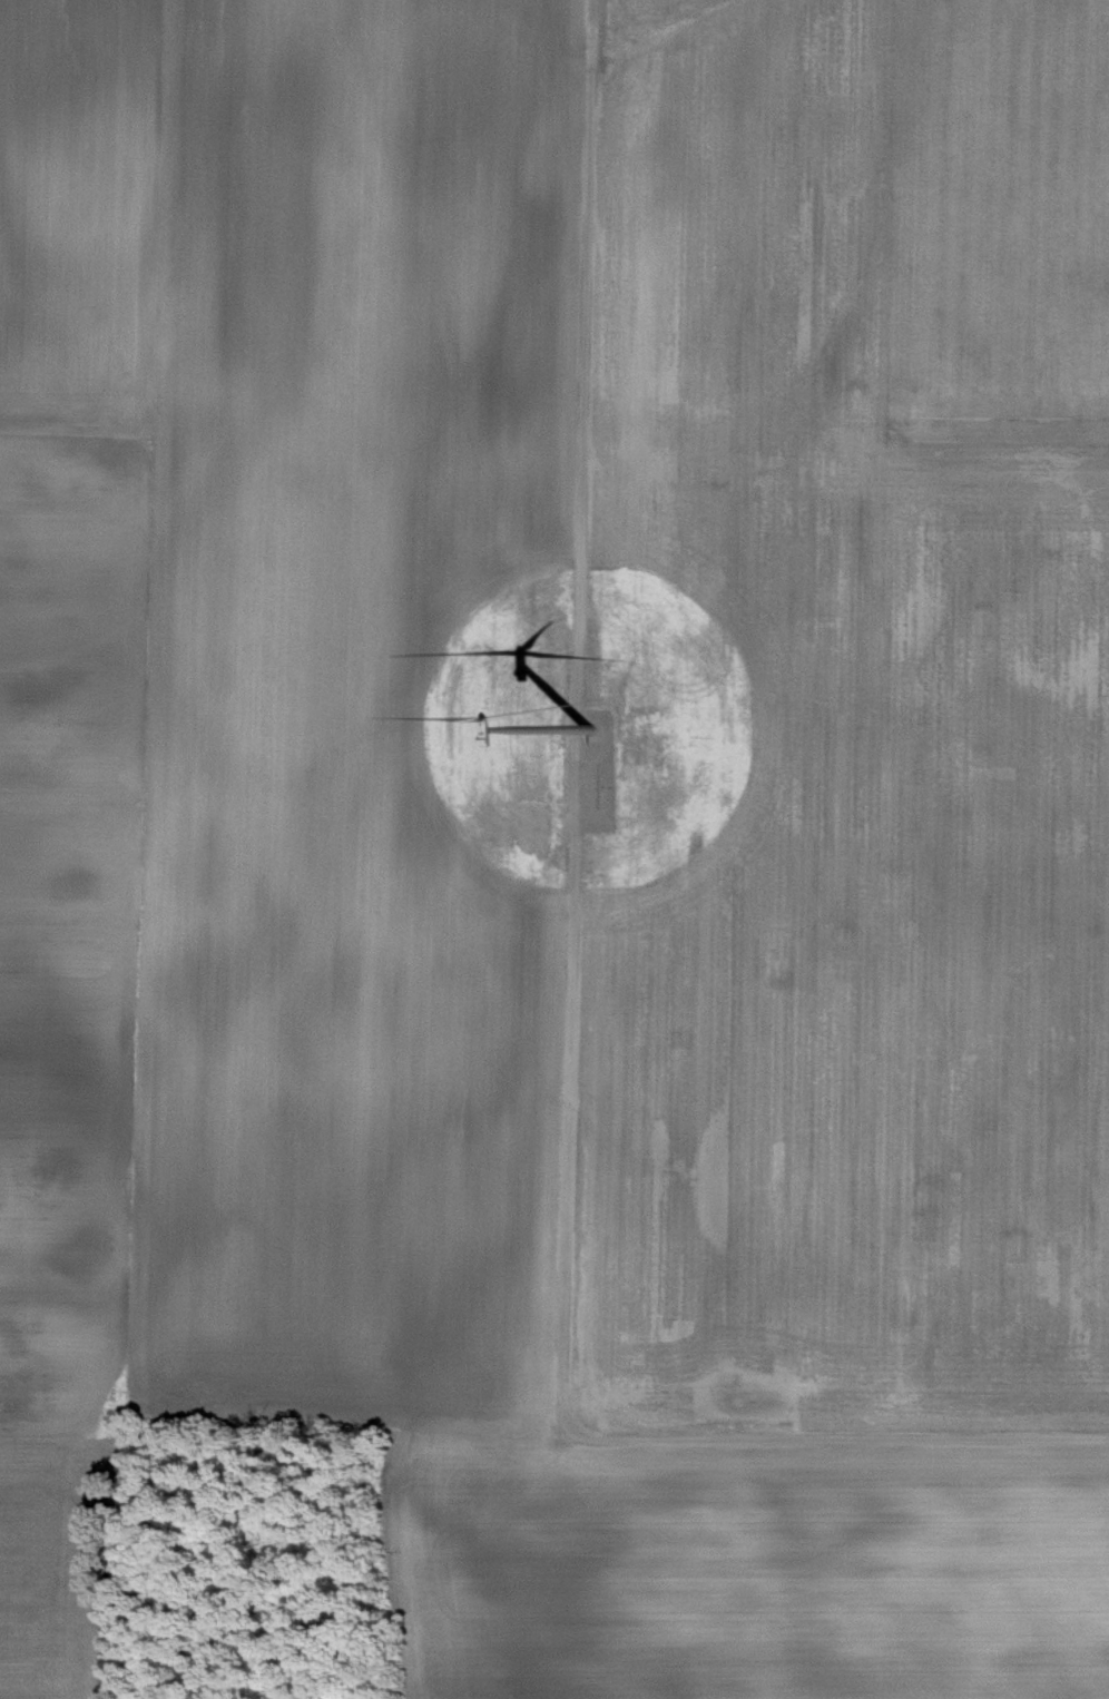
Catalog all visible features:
wind turbine: (586, 727)
road: (571, 984)

